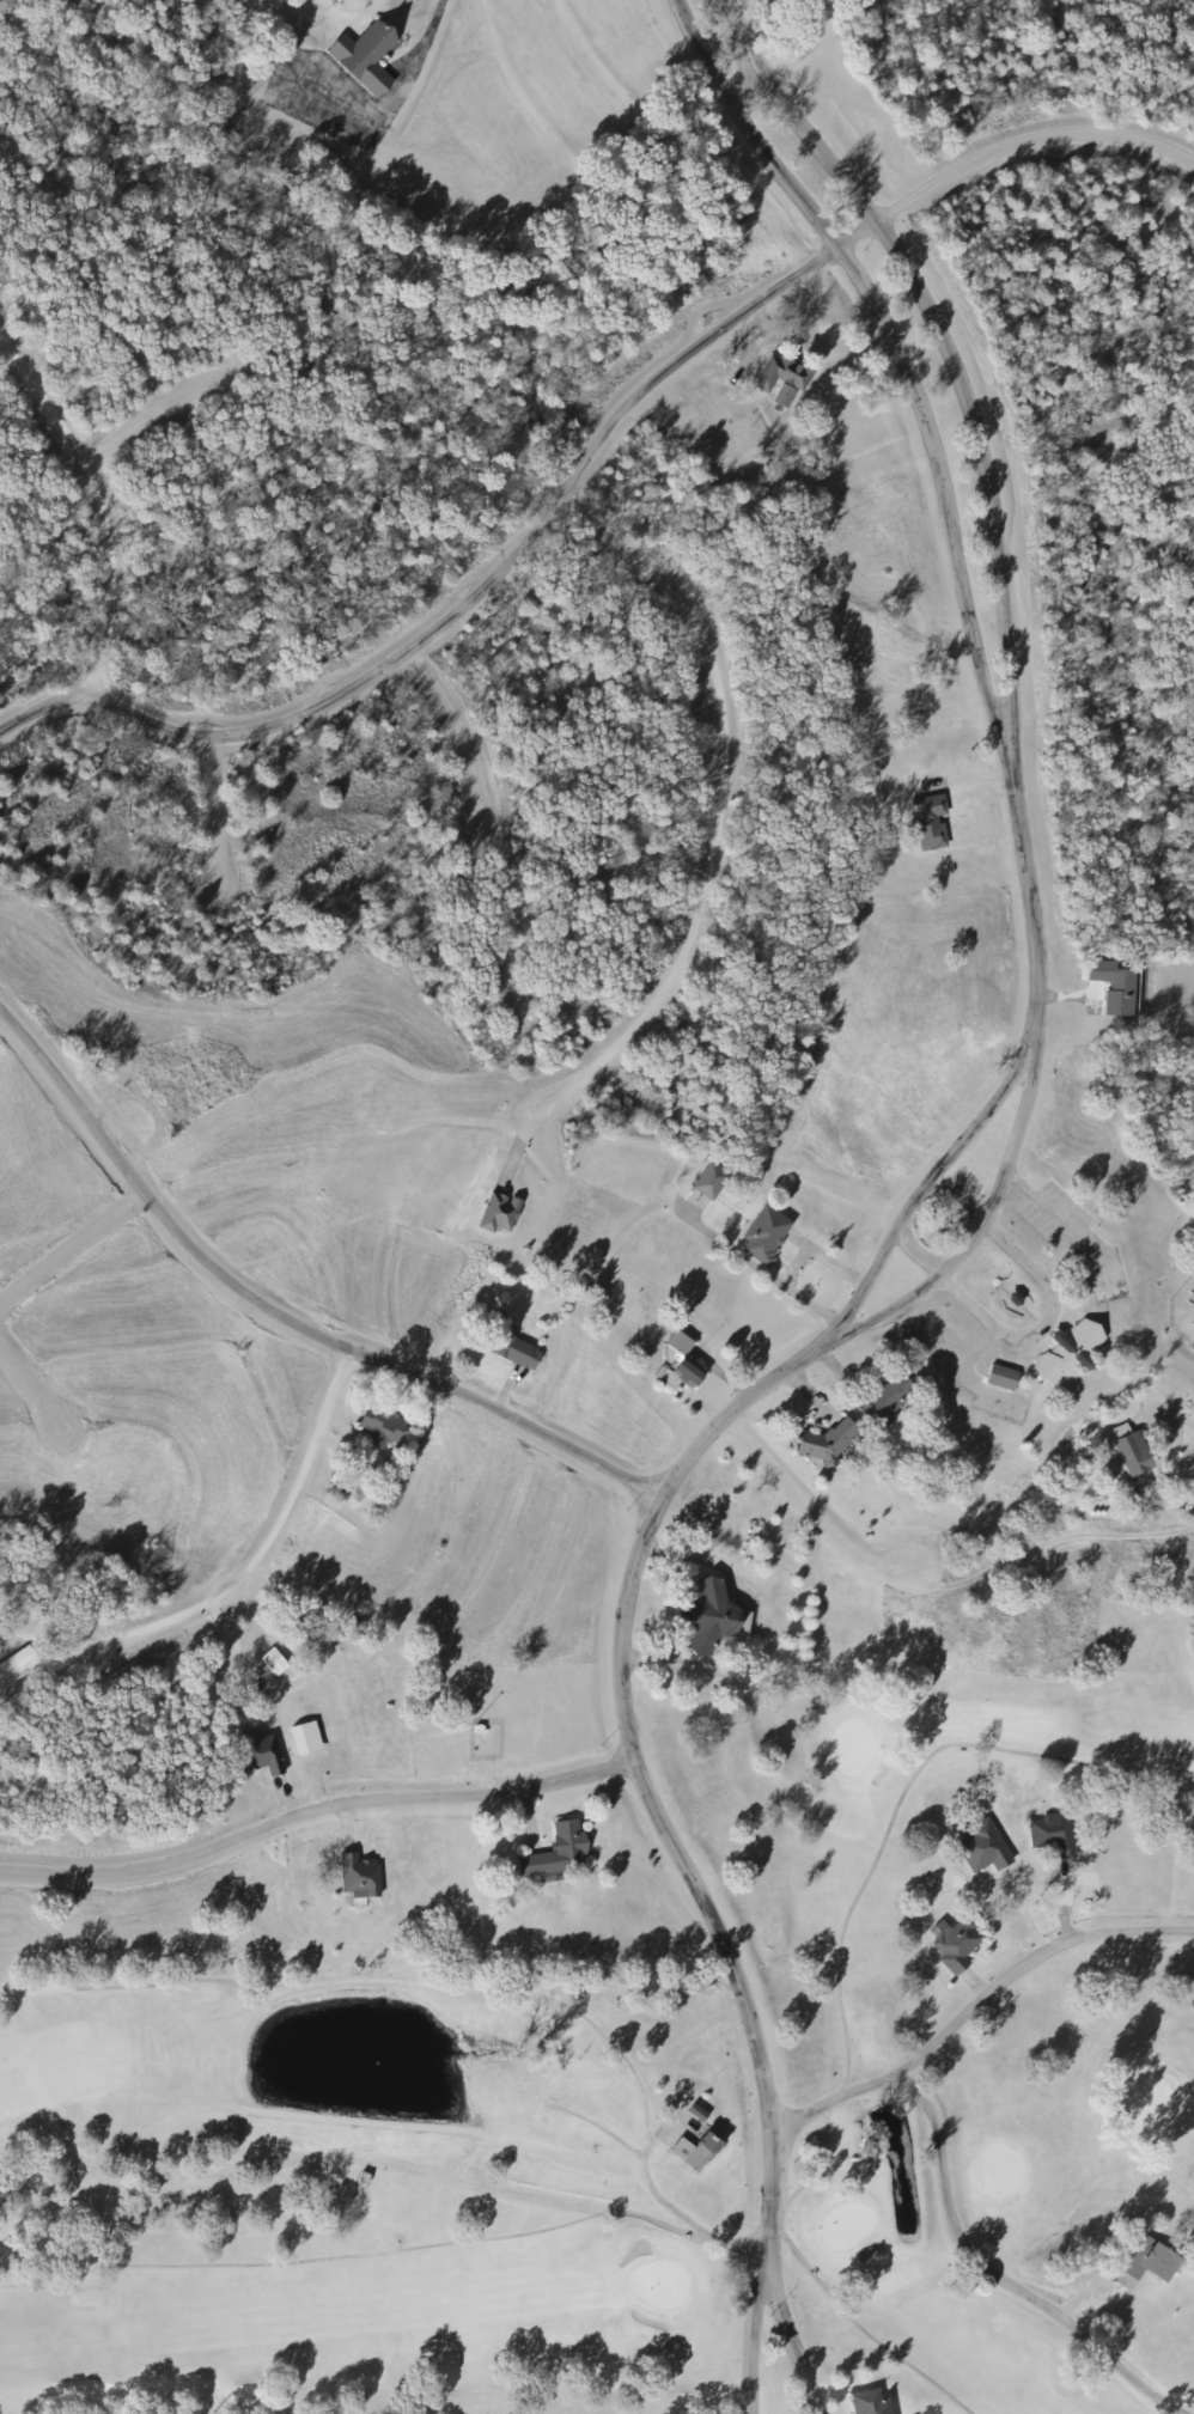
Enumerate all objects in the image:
road: (427, 43)
building: (363, 57)
road: (1028, 139)
road: (859, 234)
road: (944, 345)
road: (897, 349)
road: (687, 358)
building: (778, 374)
building: (780, 397)
road: (160, 409)
road: (108, 490)
road: (357, 688)
road: (45, 703)
road: (451, 720)
road: (714, 797)
road: (212, 812)
building: (926, 823)
road: (1030, 903)
building: (1110, 987)
building: (169, 1103)
building: (706, 1181)
road: (920, 1189)
building: (497, 1213)
road: (976, 1230)
building: (761, 1235)
road: (72, 1239)
road: (916, 1251)
road: (1053, 1286)
road: (285, 1316)
building: (1193, 1317)
building: (1192, 1345)
building: (512, 1351)
building: (1065, 1353)
building: (676, 1363)
building: (998, 1377)
road: (33, 1384)
building: (879, 1401)
building: (379, 1424)
building: (822, 1444)
building: (1128, 1453)
road: (831, 1520)
road: (266, 1541)
building: (708, 1617)
building: (270, 1659)
building: (16, 1665)
building: (260, 1754)
road: (651, 1775)
road: (317, 1808)
building: (1050, 1833)
building: (982, 1847)
building: (554, 1852)
building: (357, 1876)
building: (955, 1945)
road: (1036, 1958)
building: (694, 2150)
road: (683, 2211)
road: (957, 2217)
building: (1146, 2260)
road: (802, 2343)
road: (757, 2345)
building: (867, 2402)

